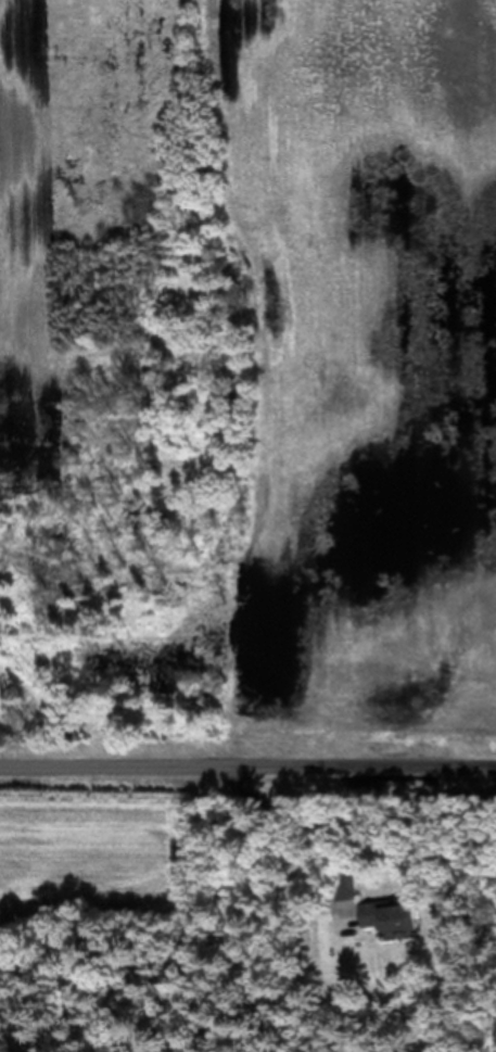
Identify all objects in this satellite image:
road: (247, 770)
building: (390, 916)

